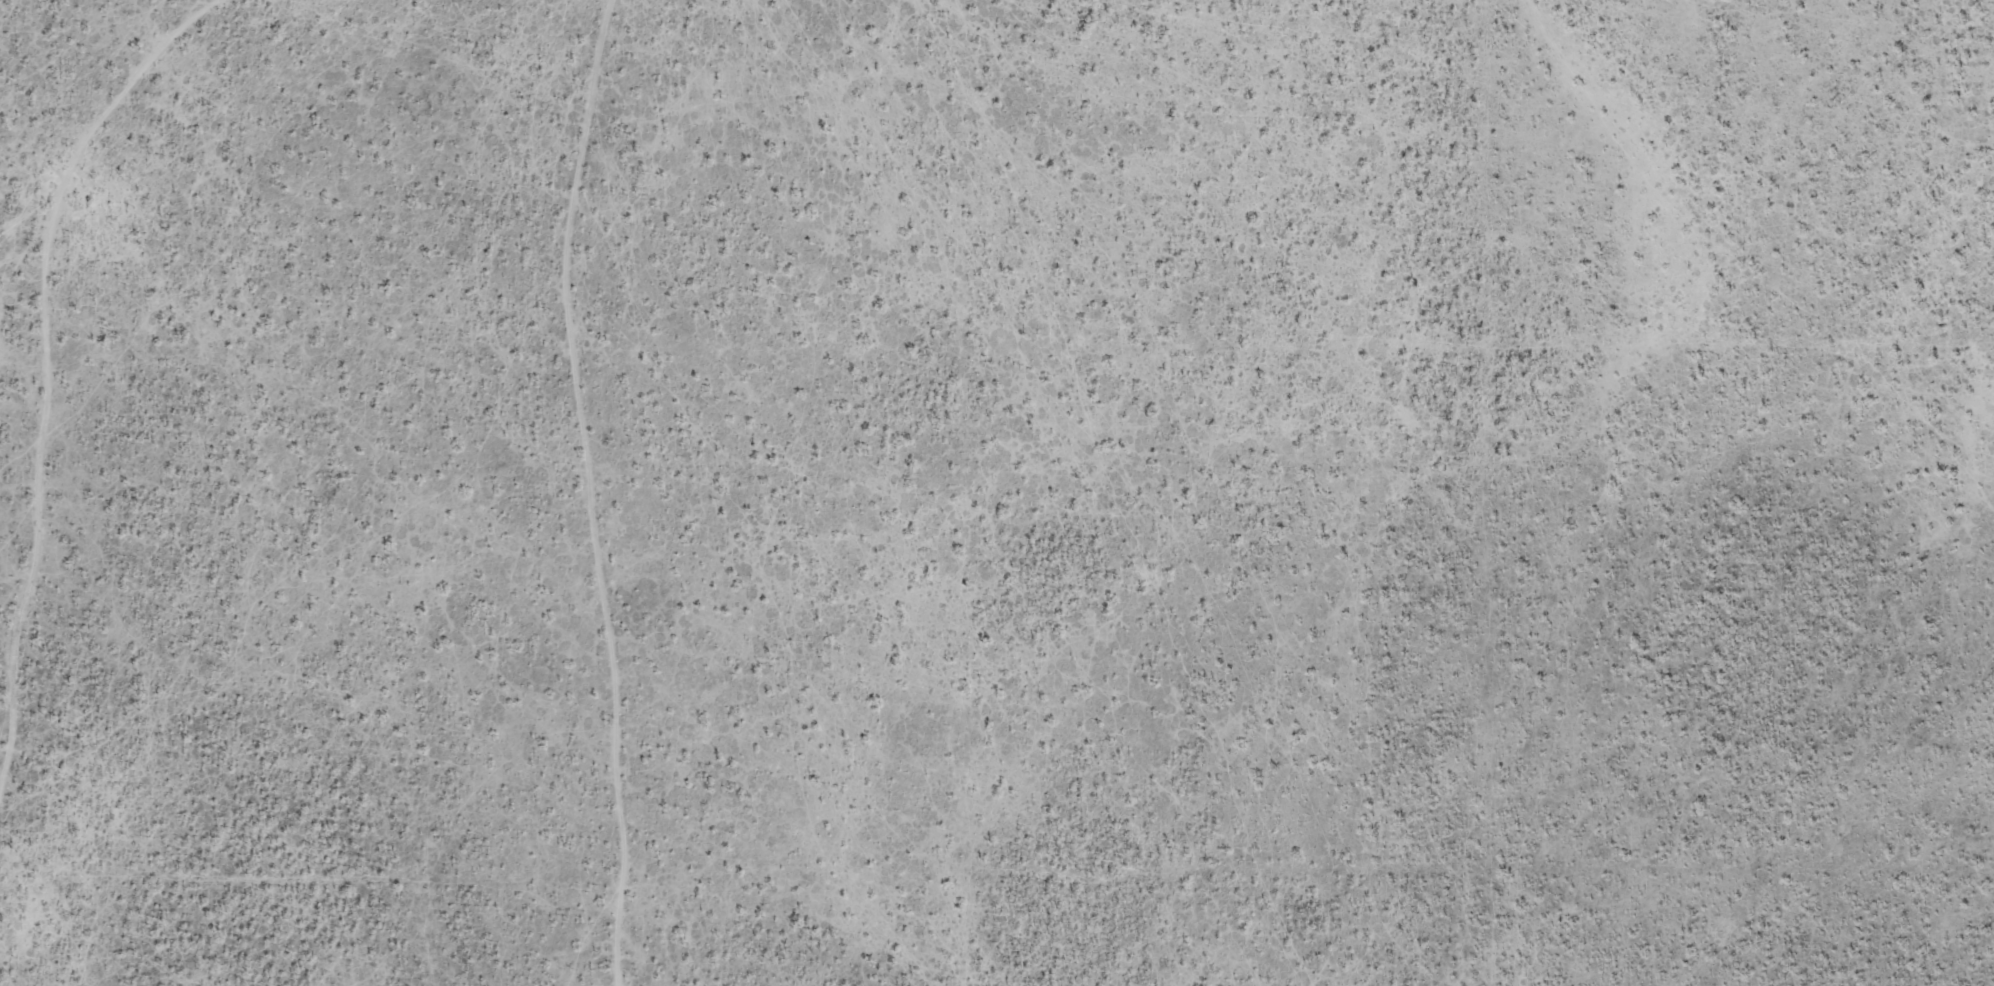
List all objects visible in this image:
road: (618, 492)
road: (369, 513)

